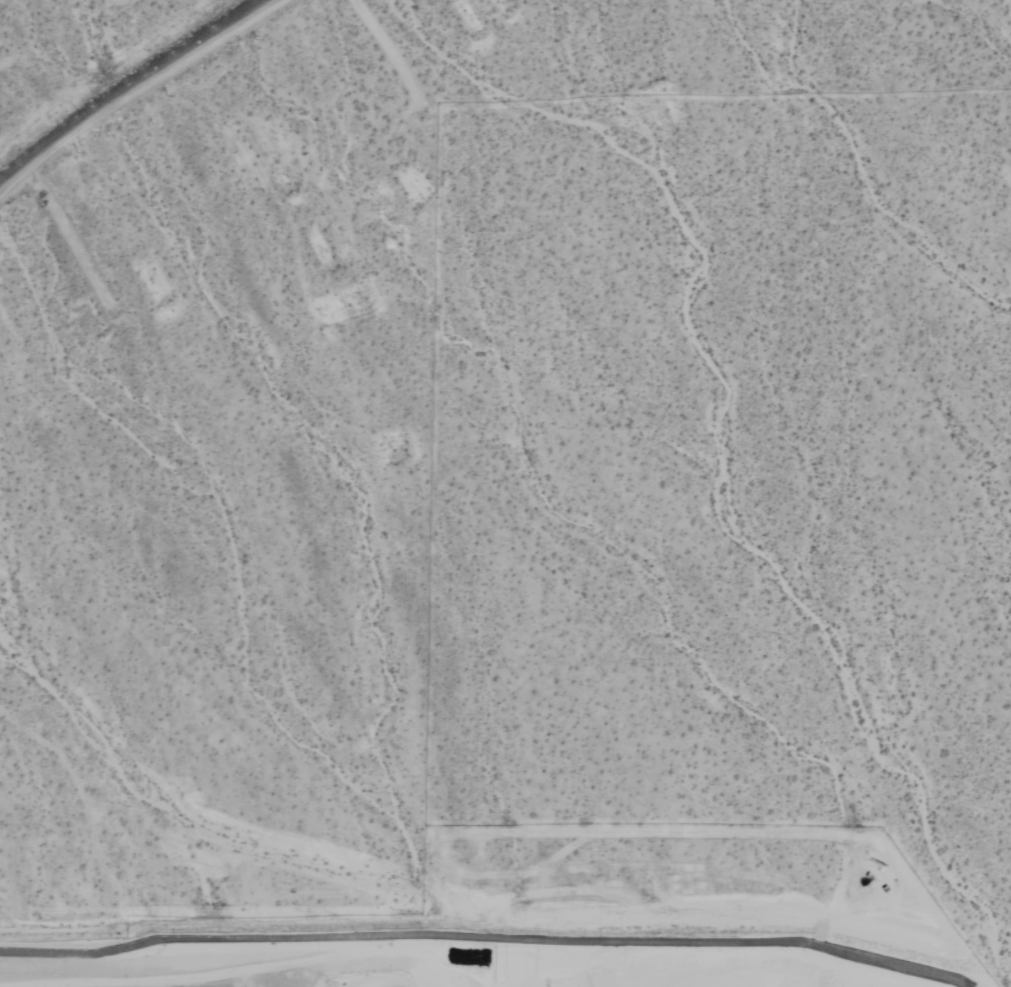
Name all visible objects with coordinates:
railway: (124, 82)
road: (136, 90)

